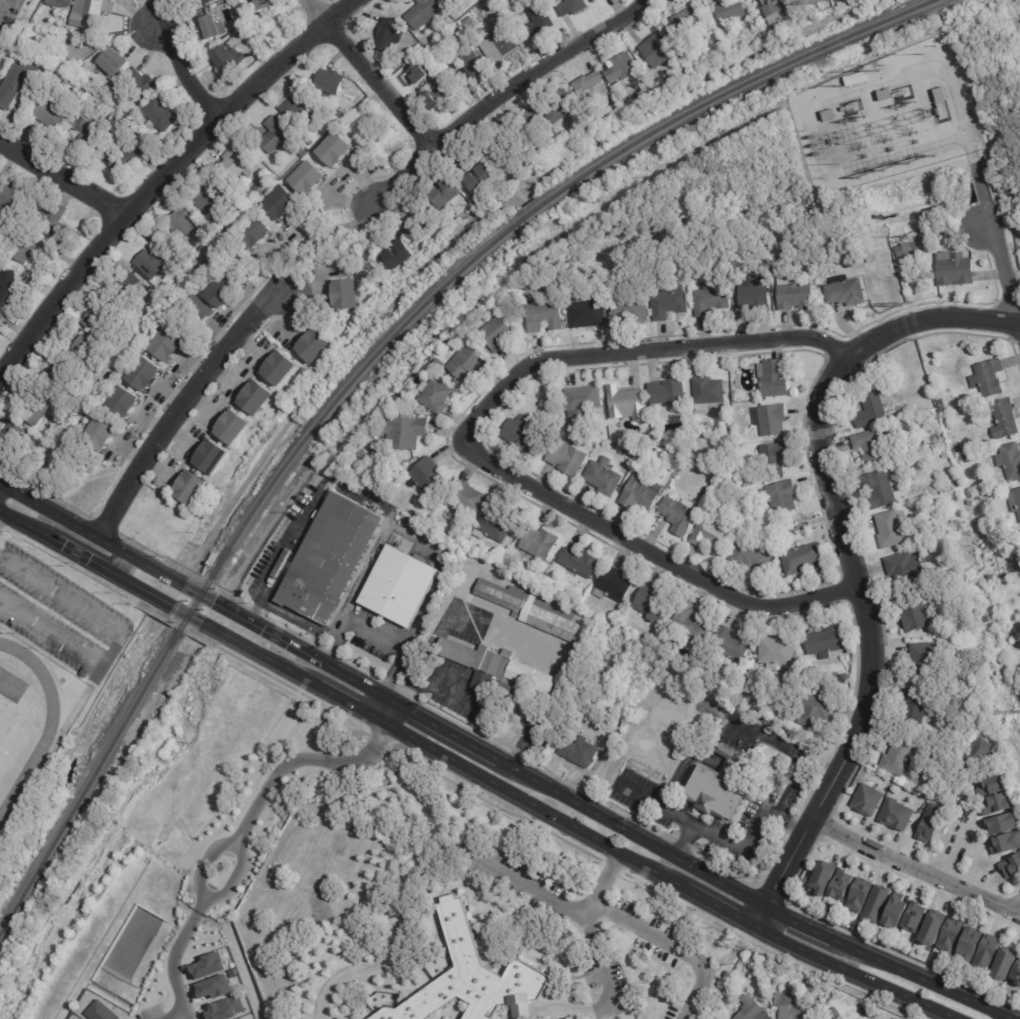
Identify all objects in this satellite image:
building: (443, 0)
building: (450, 1)
building: (562, 1)
building: (203, 2)
power tower: (822, 2)
building: (61, 3)
building: (259, 3)
building: (776, 6)
building: (492, 7)
building: (574, 8)
building: (731, 10)
building: (91, 14)
building: (428, 14)
building: (688, 18)
building: (540, 21)
building: (754, 25)
building: (212, 28)
building: (53, 36)
building: (390, 36)
building: (718, 38)
building: (500, 47)
building: (658, 50)
building: (228, 59)
building: (113, 62)
road: (177, 62)
building: (474, 65)
building: (623, 67)
building: (415, 74)
road: (365, 77)
building: (851, 78)
building: (328, 81)
building: (17, 83)
building: (142, 84)
building: (592, 87)
building: (624, 90)
building: (619, 91)
building: (438, 92)
building: (936, 92)
building: (881, 93)
road: (502, 99)
building: (564, 105)
building: (299, 107)
building: (825, 113)
building: (49, 116)
building: (161, 116)
power substation: (886, 117)
building: (536, 121)
building: (89, 131)
building: (320, 133)
building: (276, 134)
building: (103, 144)
building: (330, 147)
building: (298, 152)
building: (124, 158)
building: (239, 161)
power tower: (837, 167)
building: (303, 176)
road: (162, 178)
building: (483, 180)
road: (62, 184)
building: (260, 189)
building: (447, 193)
building: (9, 195)
building: (208, 195)
building: (277, 202)
building: (184, 223)
building: (56, 224)
building: (250, 229)
power tower: (905, 236)
road: (312, 241)
building: (23, 247)
building: (905, 252)
building: (396, 253)
building: (154, 261)
building: (952, 270)
road: (1003, 279)
building: (524, 282)
building: (8, 288)
building: (336, 291)
building: (846, 291)
building: (123, 292)
building: (222, 292)
building: (795, 293)
building: (759, 294)
building: (713, 299)
building: (670, 302)
power tower: (907, 305)
building: (632, 308)
building: (201, 310)
building: (590, 312)
building: (545, 315)
building: (2, 319)
building: (94, 319)
building: (474, 330)
building: (498, 334)
building: (169, 344)
building: (315, 346)
building: (85, 352)
building: (467, 363)
railway: (366, 364)
building: (442, 364)
building: (426, 366)
building: (280, 368)
building: (145, 374)
building: (770, 377)
building: (990, 378)
building: (57, 379)
building: (664, 390)
building: (710, 390)
building: (404, 392)
building: (555, 394)
building: (436, 395)
building: (257, 397)
building: (579, 397)
building: (399, 400)
building: (622, 401)
building: (125, 404)
building: (941, 404)
road: (178, 406)
building: (548, 406)
building: (38, 408)
building: (873, 410)
building: (741, 414)
building: (546, 415)
building: (772, 419)
building: (1006, 420)
building: (233, 427)
building: (406, 432)
building: (524, 434)
building: (102, 435)
building: (739, 437)
building: (24, 445)
building: (872, 447)
building: (958, 449)
road: (470, 450)
building: (947, 454)
building: (364, 455)
building: (212, 456)
building: (568, 456)
building: (777, 458)
building: (968, 458)
building: (1011, 460)
building: (430, 476)
building: (605, 476)
building: (192, 488)
building: (882, 489)
building: (643, 492)
road: (1, 493)
building: (784, 496)
building: (468, 498)
building: (1015, 500)
building: (680, 514)
building: (437, 519)
road: (301, 521)
building: (959, 524)
building: (493, 525)
building: (891, 529)
building: (970, 533)
building: (713, 534)
building: (541, 542)
building: (509, 544)
building: (788, 547)
building: (754, 556)
building: (333, 558)
building: (804, 558)
road: (848, 558)
building: (581, 561)
building: (1018, 561)
building: (910, 566)
building: (998, 570)
building: (992, 578)
building: (614, 585)
building: (398, 588)
building: (654, 605)
building: (538, 611)
building: (915, 611)
parking lot: (58, 616)
road: (193, 616)
building: (989, 619)
building: (693, 624)
building: (32, 632)
road: (374, 636)
road: (118, 639)
building: (827, 640)
building: (733, 644)
building: (778, 651)
building: (926, 654)
building: (1016, 656)
building: (66, 659)
building: (750, 665)
building: (105, 671)
building: (500, 671)
building: (997, 680)
building: (741, 691)
building: (757, 697)
building: (918, 705)
road: (390, 712)
building: (819, 712)
building: (797, 715)
track: (47, 728)
park: (9, 735)
building: (581, 751)
building: (977, 753)
building: (899, 758)
road: (301, 759)
road: (502, 760)
building: (720, 785)
building: (988, 785)
road: (640, 797)
building: (866, 799)
building: (994, 804)
road: (776, 805)
road: (669, 812)
building: (895, 814)
road: (963, 821)
road: (790, 823)
building: (933, 823)
building: (1001, 824)
building: (1004, 842)
road: (205, 864)
building: (1010, 865)
road: (917, 866)
building: (821, 877)
road: (664, 878)
road: (233, 880)
building: (839, 885)
building: (858, 894)
road: (553, 903)
building: (875, 904)
road: (199, 907)
building: (895, 911)
building: (913, 916)
building: (932, 927)
building: (949, 935)
road: (673, 945)
building: (968, 945)
building: (985, 952)
road: (172, 963)
building: (1003, 964)
building: (208, 966)
building: (1015, 974)
road: (335, 976)
building: (470, 978)
building: (771, 985)
building: (215, 987)
road: (609, 993)
building: (795, 1006)
building: (226, 1009)
building: (753, 1009)
building: (830, 1011)
building: (837, 1011)
building: (872, 1011)
building: (103, 1012)
road: (519, 1013)
road: (174, 1014)
road: (506, 1016)
building: (843, 1017)
building: (242, 1018)

